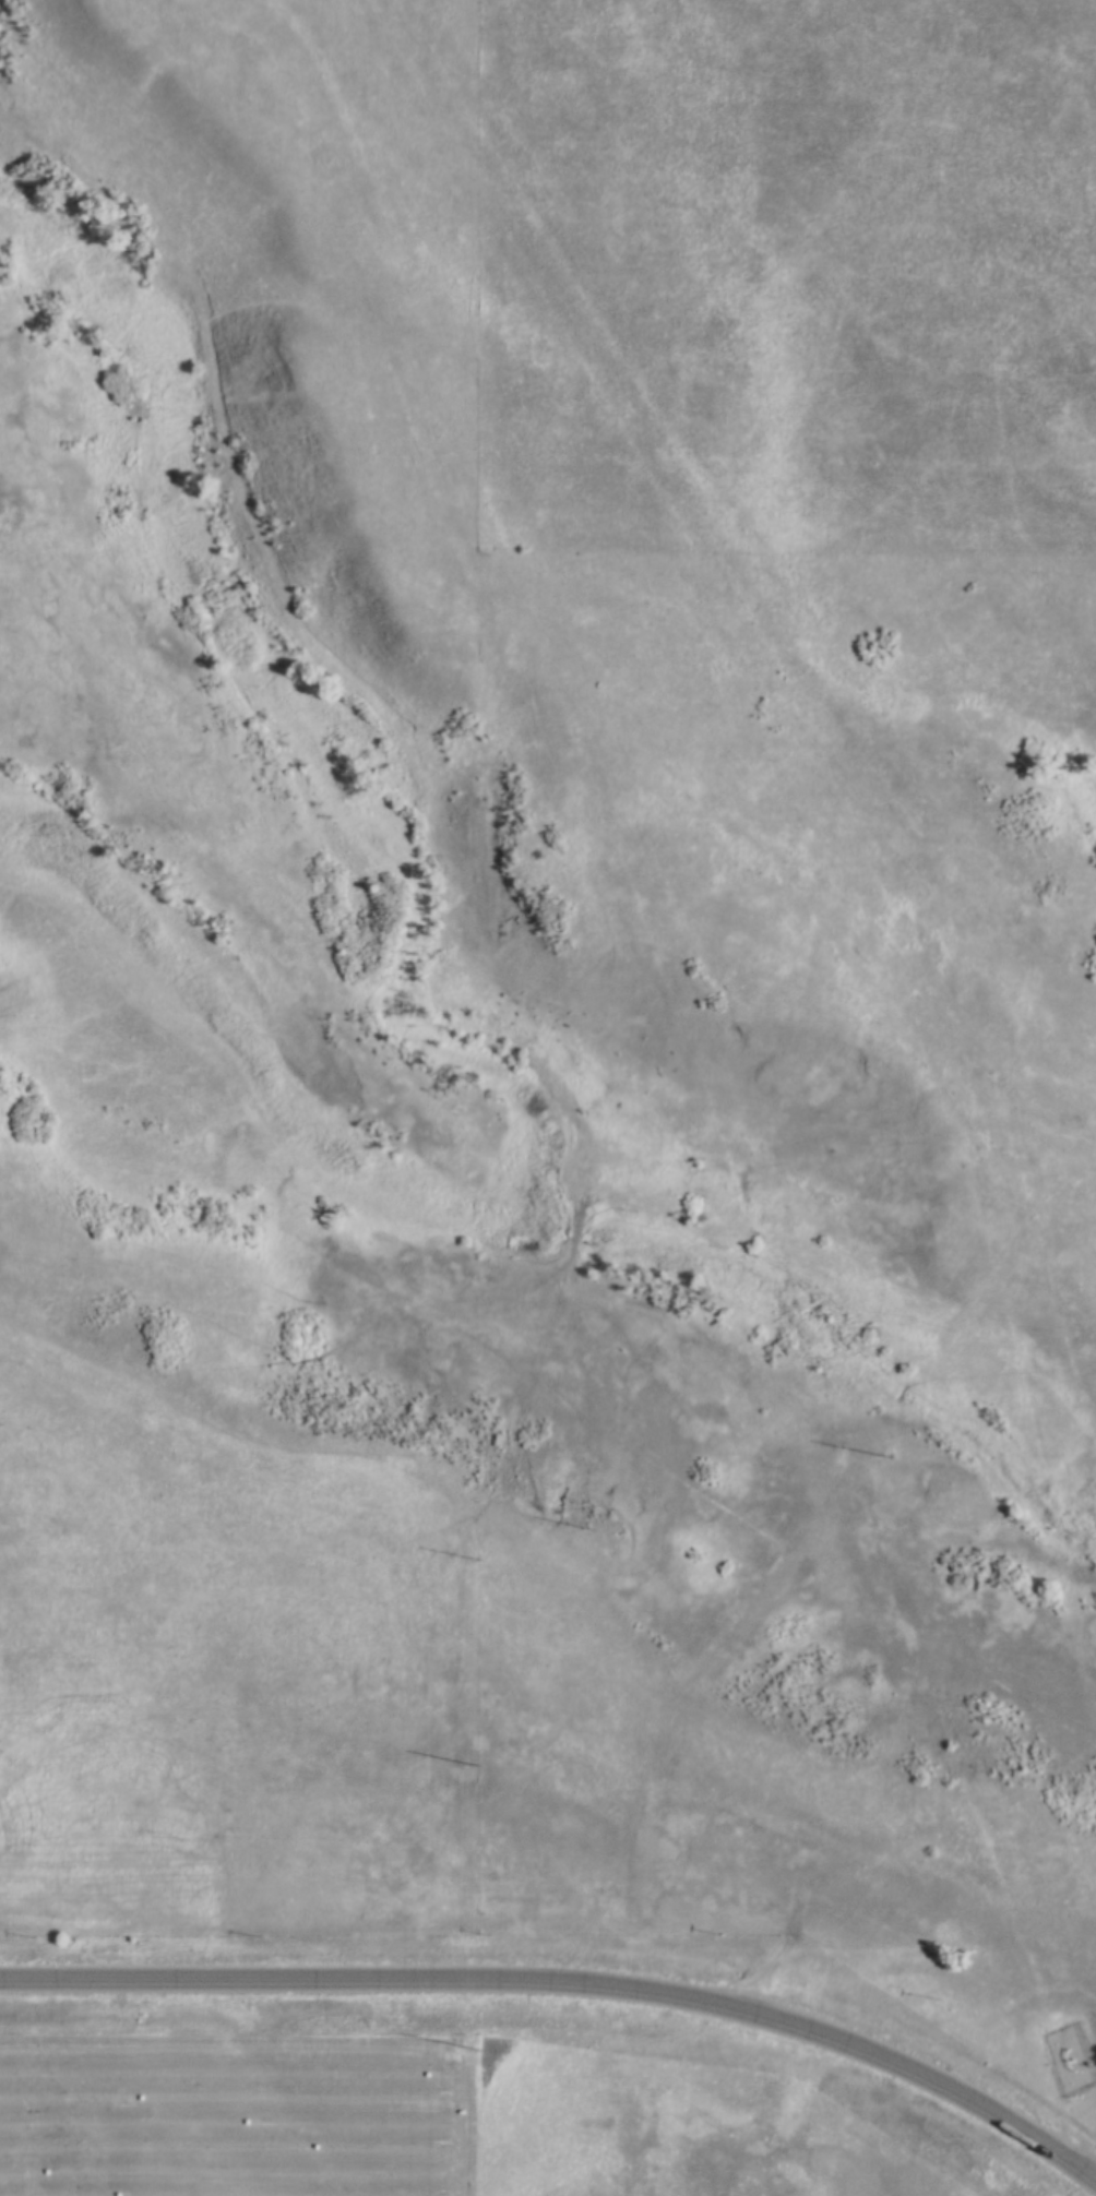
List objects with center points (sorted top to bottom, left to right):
road: (570, 1985)

